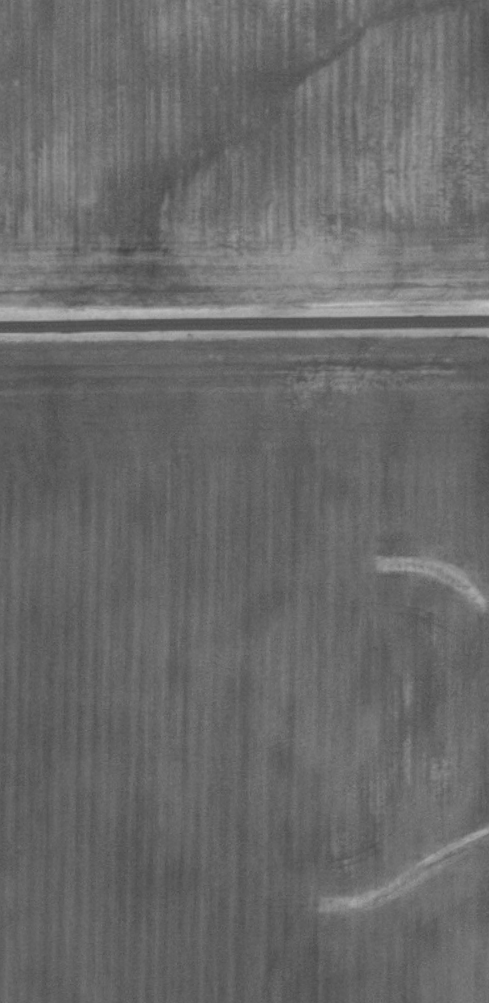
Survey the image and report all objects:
road: (244, 323)

